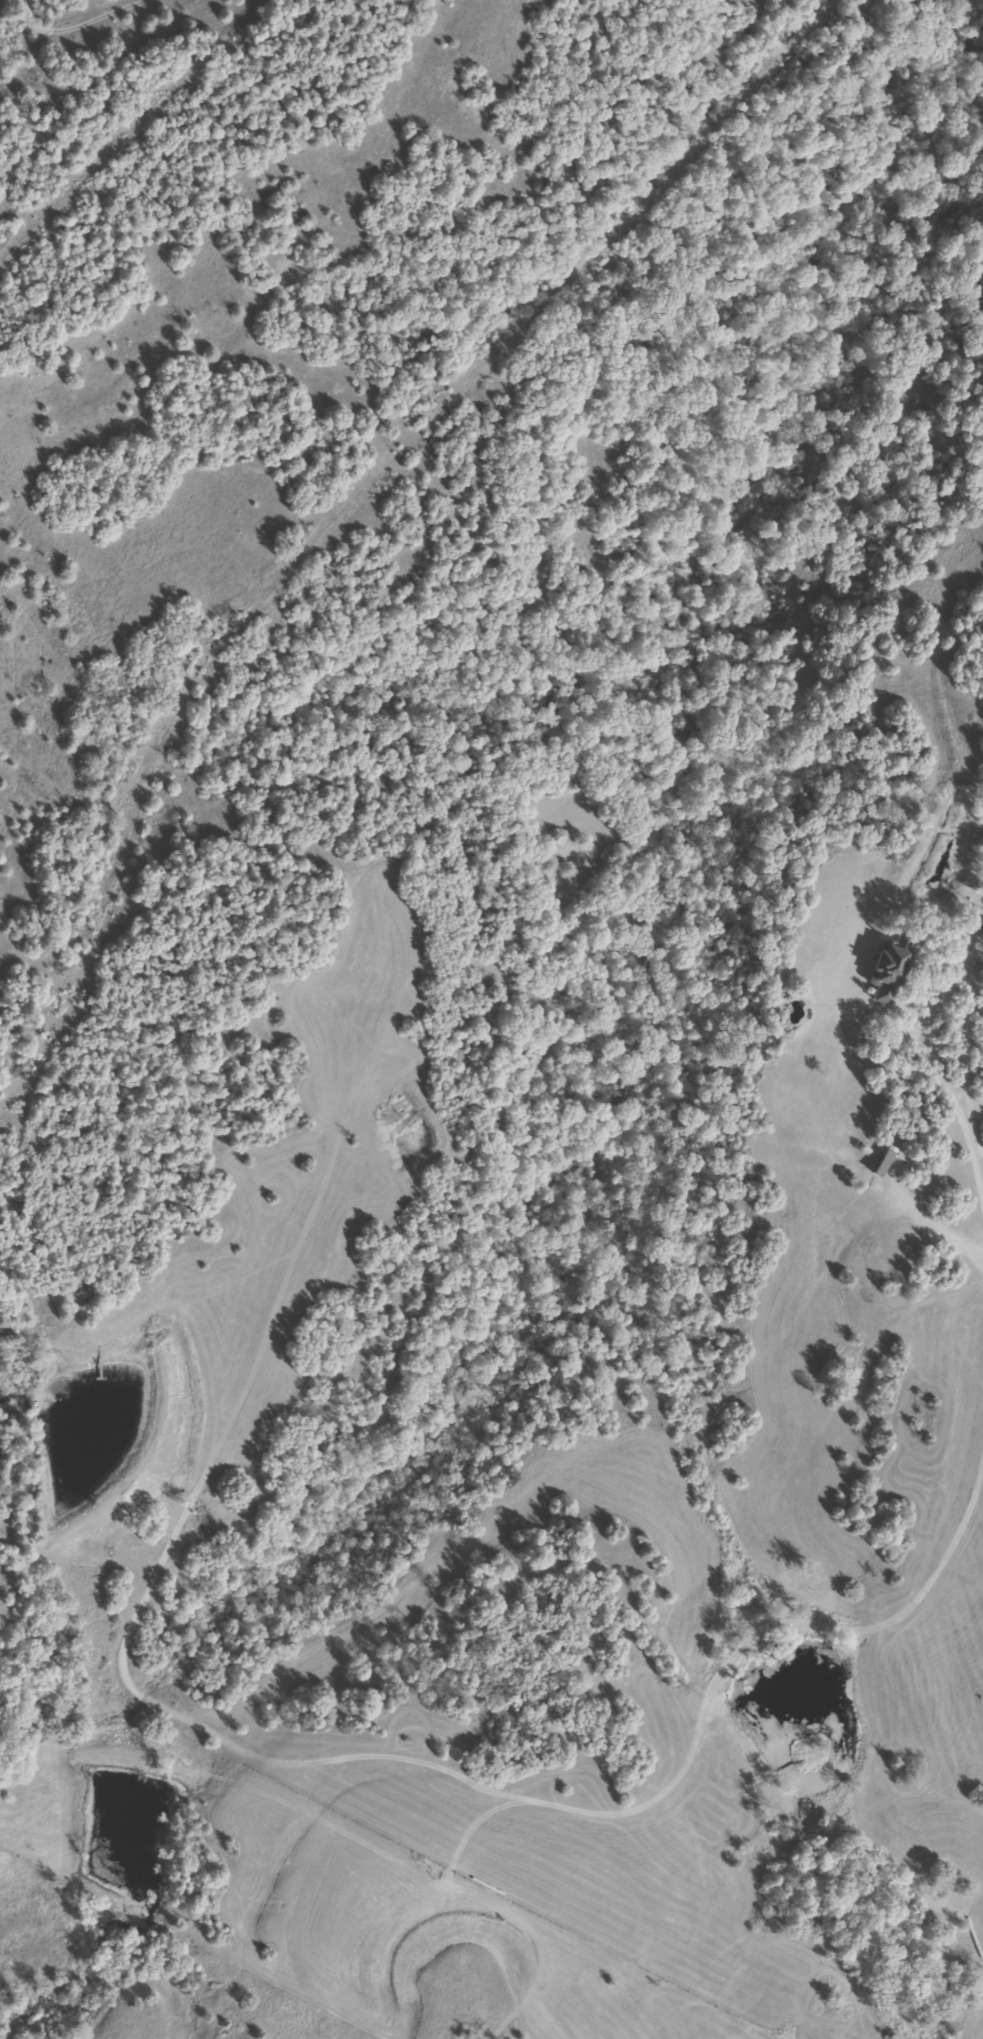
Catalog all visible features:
building: (885, 969)
building: (885, 1157)

